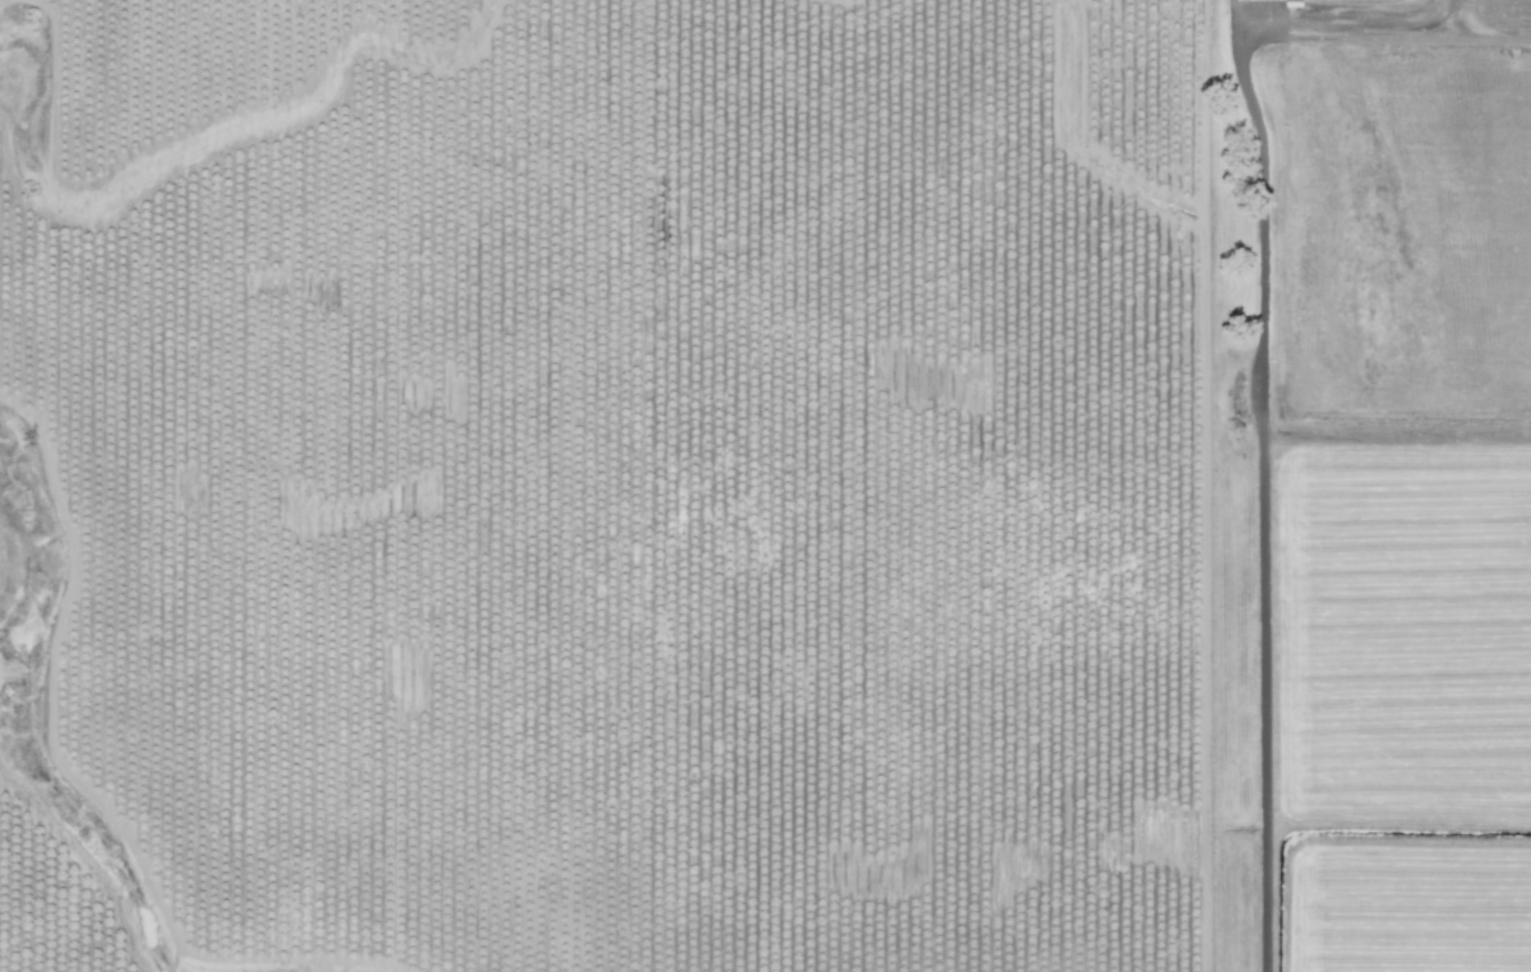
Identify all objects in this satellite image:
road: (1335, 17)
road: (1396, 38)
road: (1396, 437)
road: (1261, 484)

